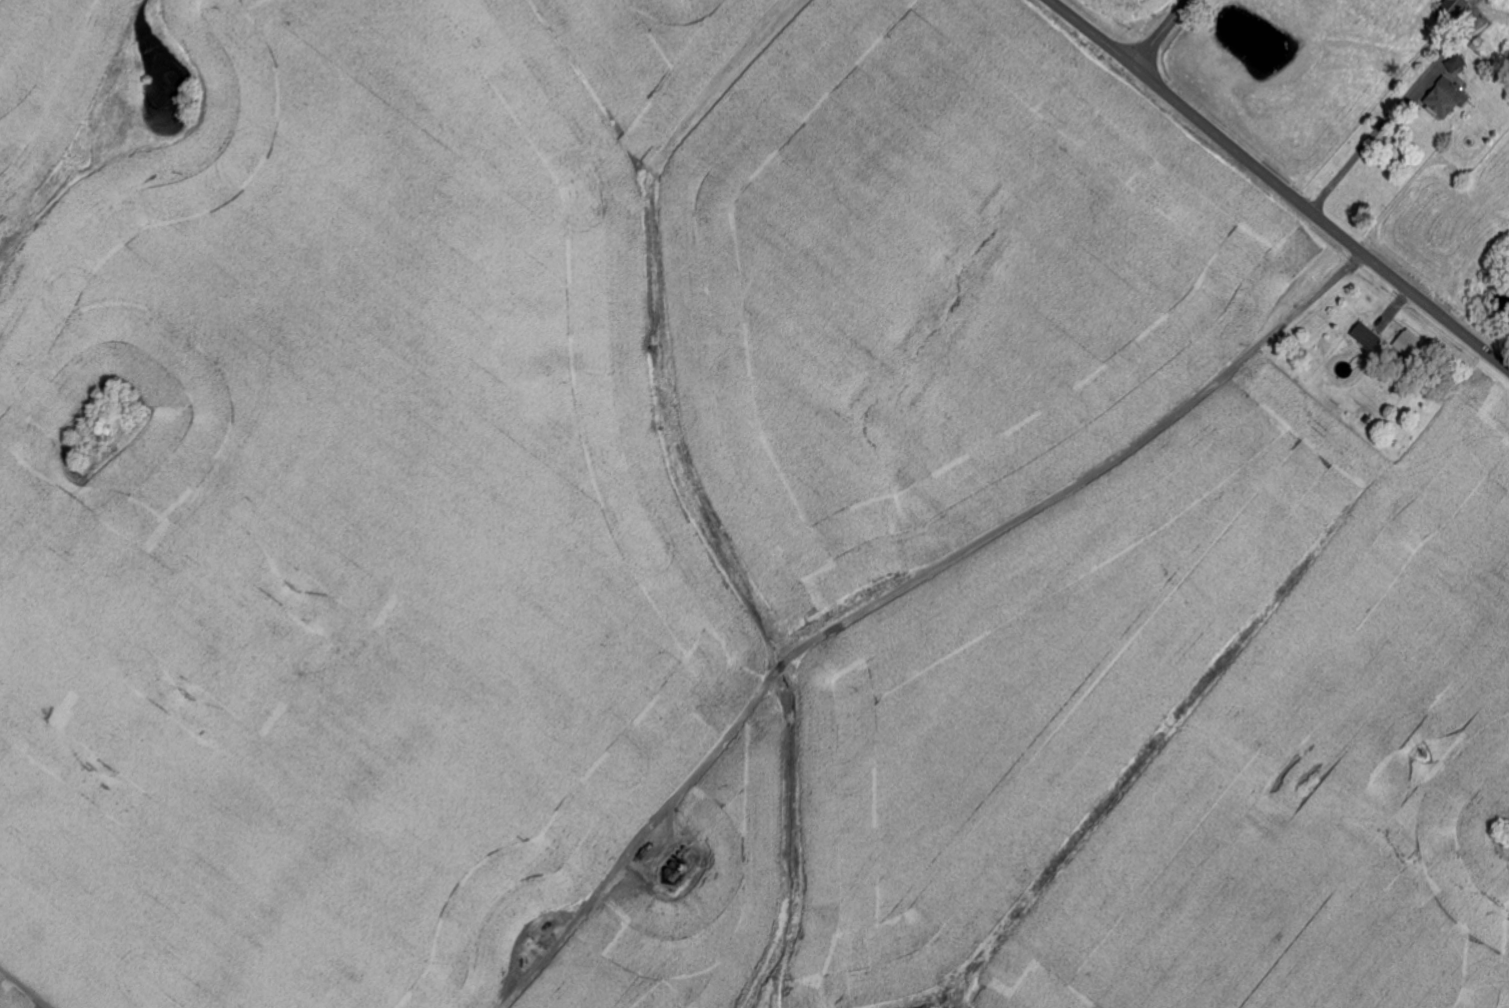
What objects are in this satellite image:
building: (1454, 10)
road: (1161, 33)
building: (1458, 64)
building: (1449, 99)
road: (1366, 144)
road: (1278, 185)
building: (1368, 338)
building: (1411, 344)
road: (896, 593)
road: (23, 990)

